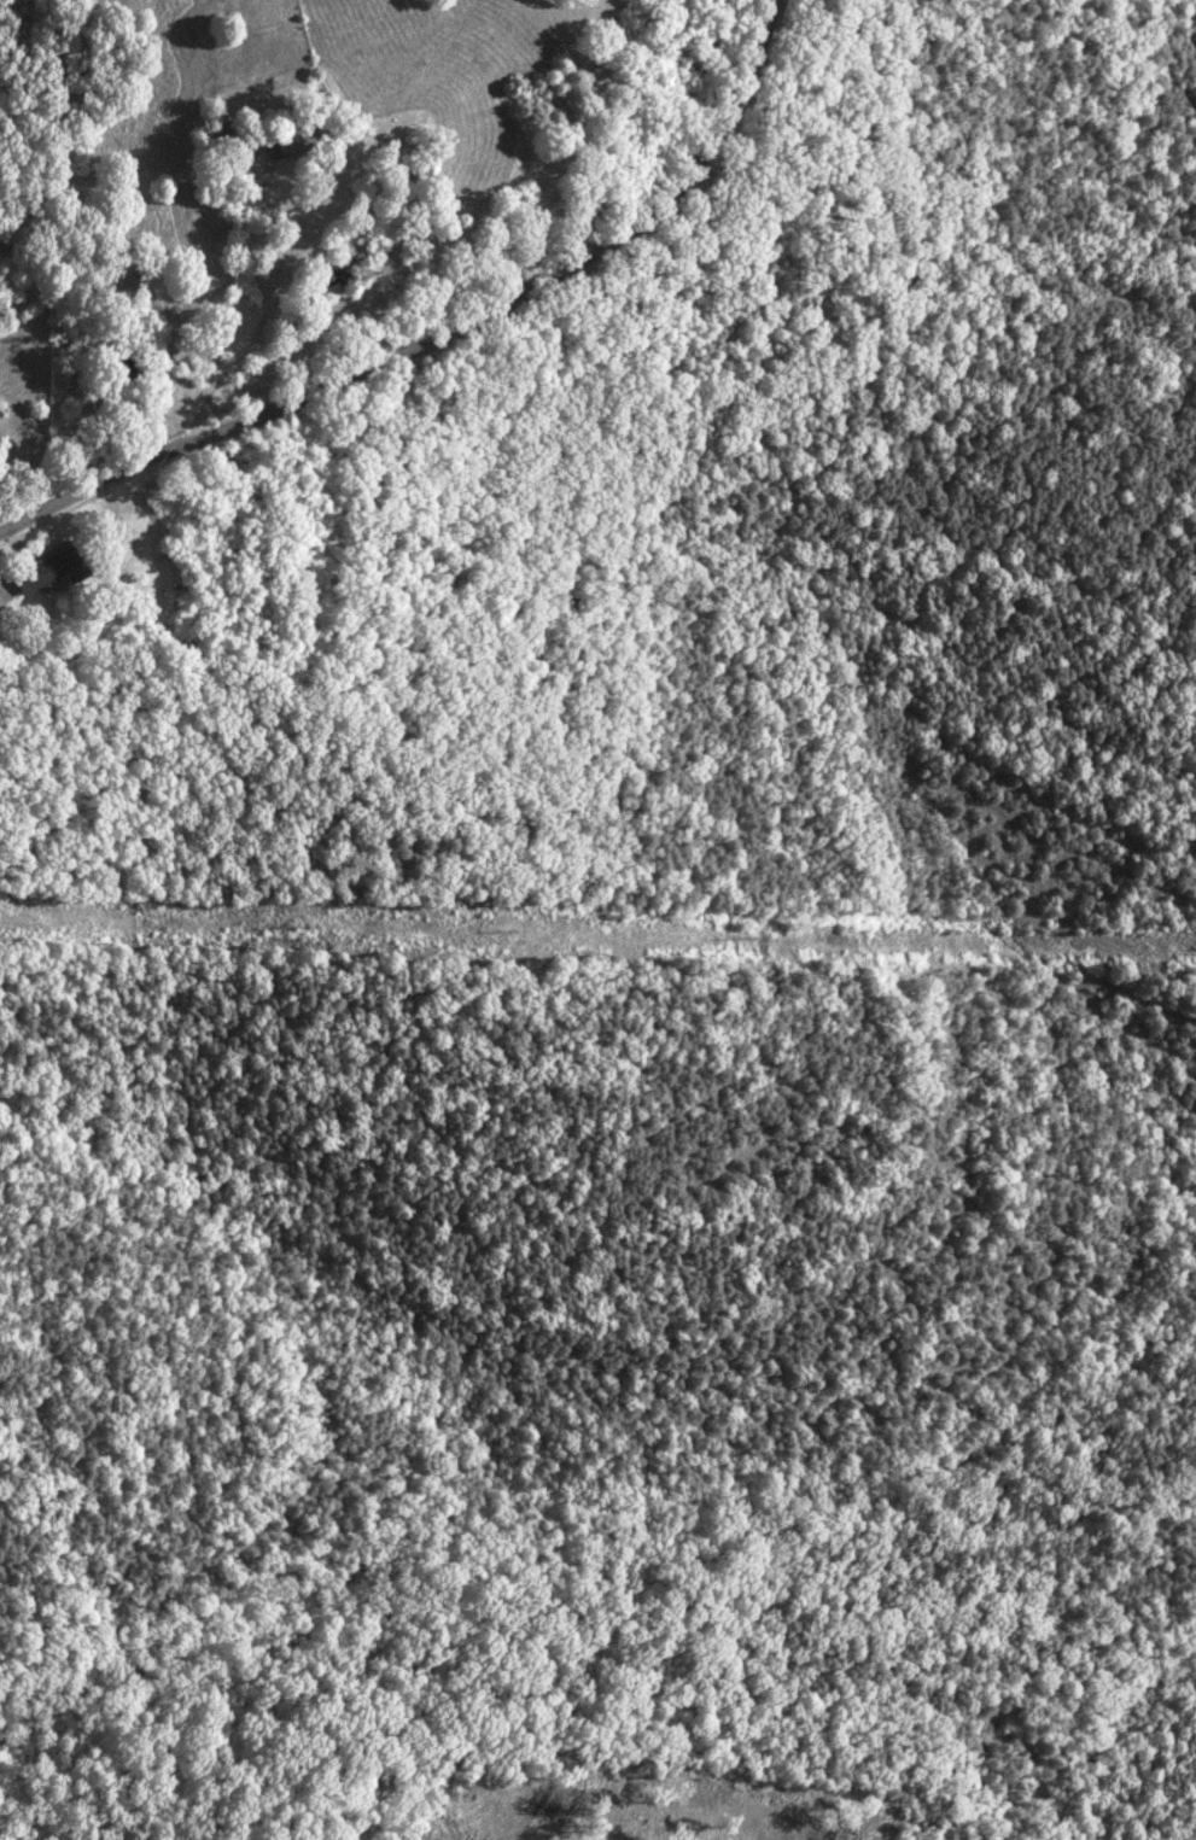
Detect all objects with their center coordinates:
road: (444, 328)
building: (42, 569)

